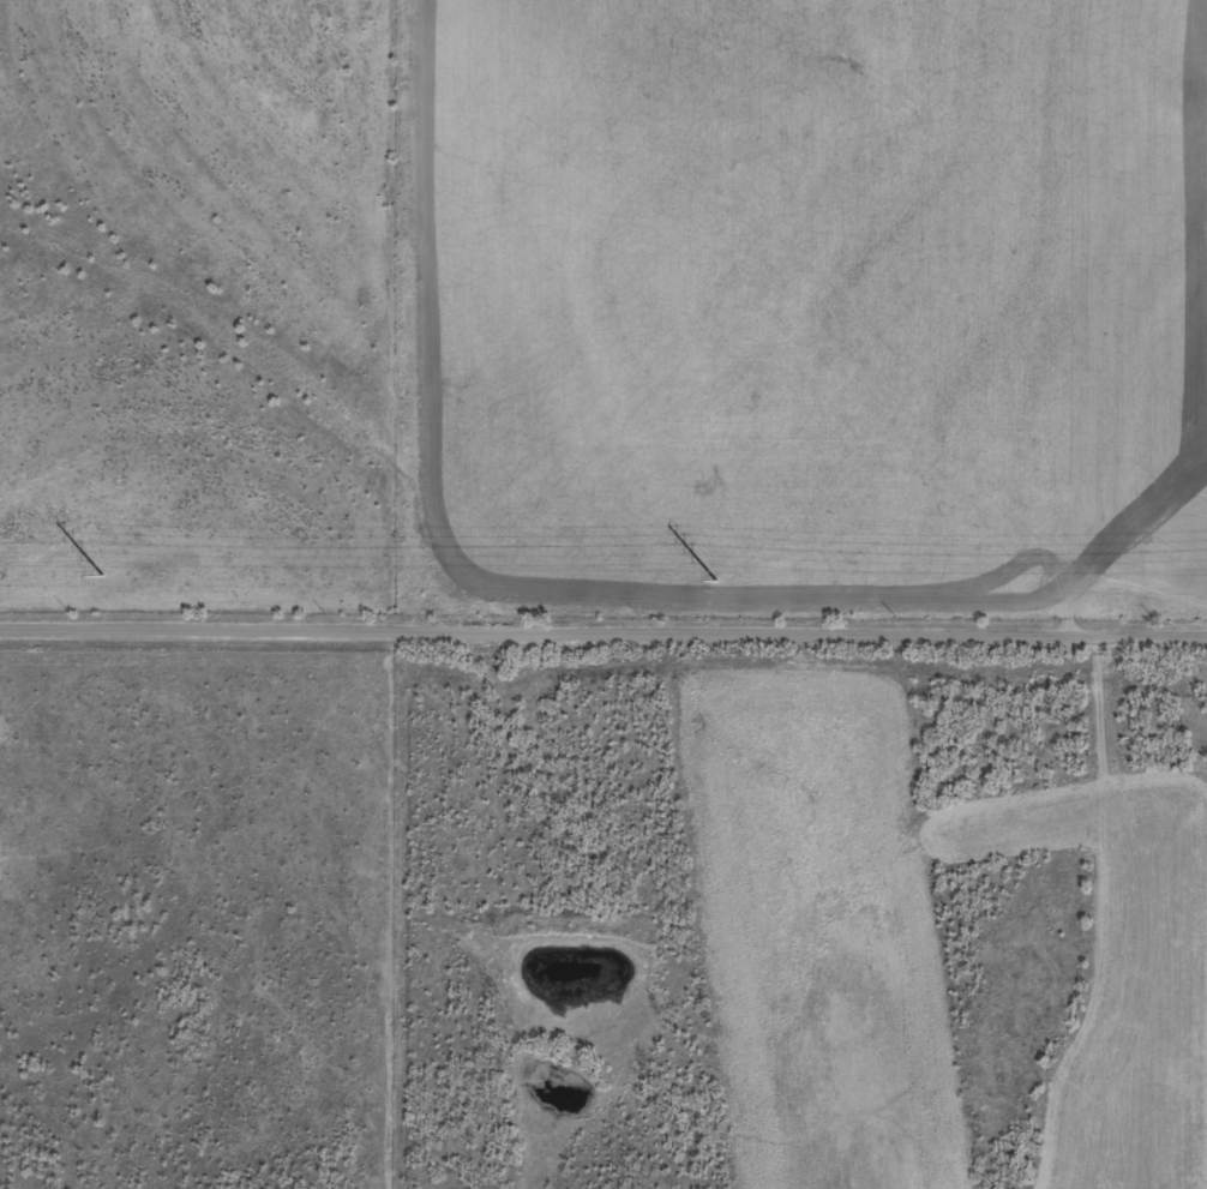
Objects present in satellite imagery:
power tower: (102, 576)
power tower: (715, 581)
road: (603, 625)

